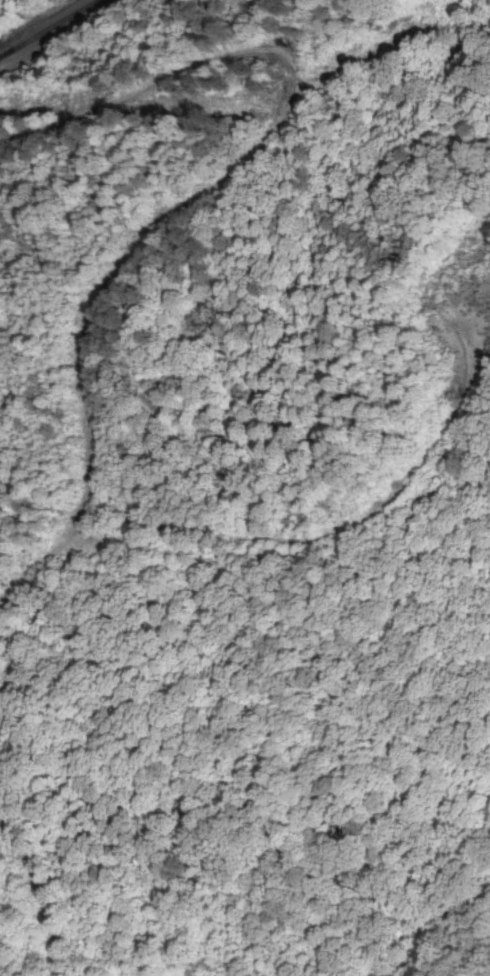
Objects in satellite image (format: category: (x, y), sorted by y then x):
railway: (39, 23)
road: (66, 34)
road: (116, 480)

